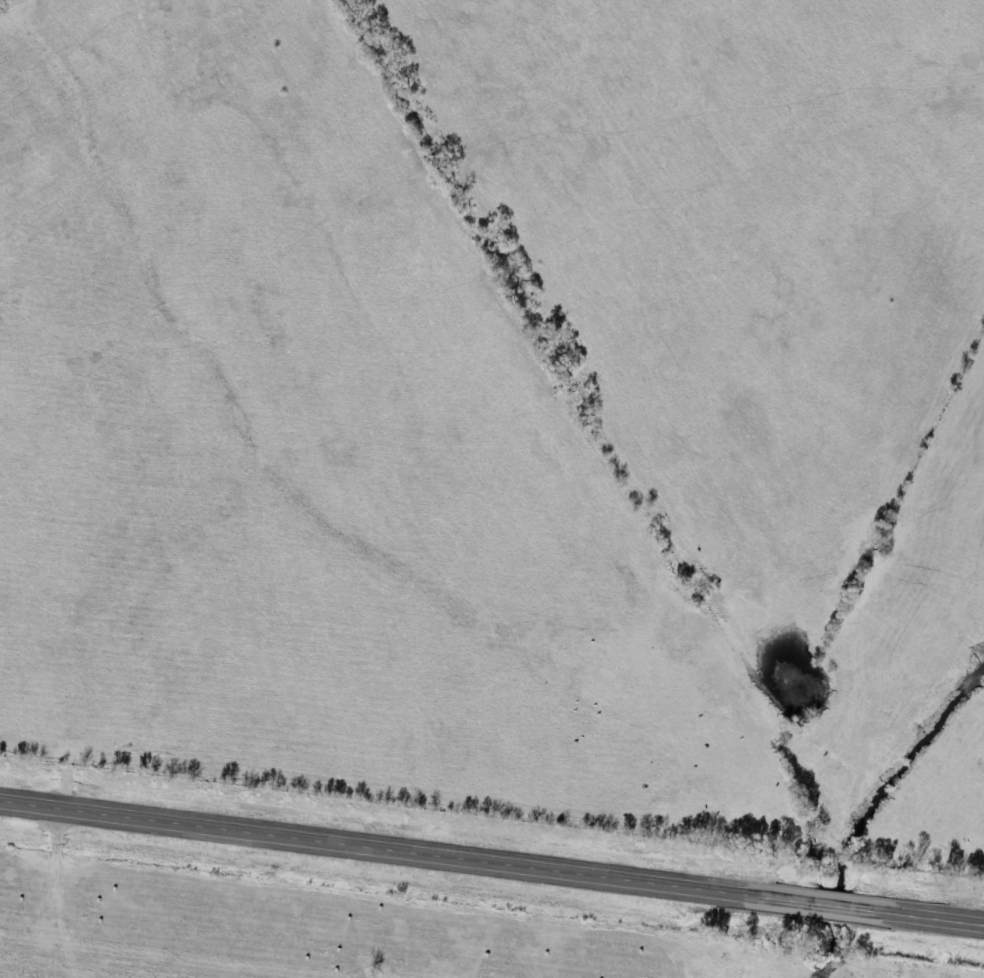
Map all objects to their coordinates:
road: (492, 850)

